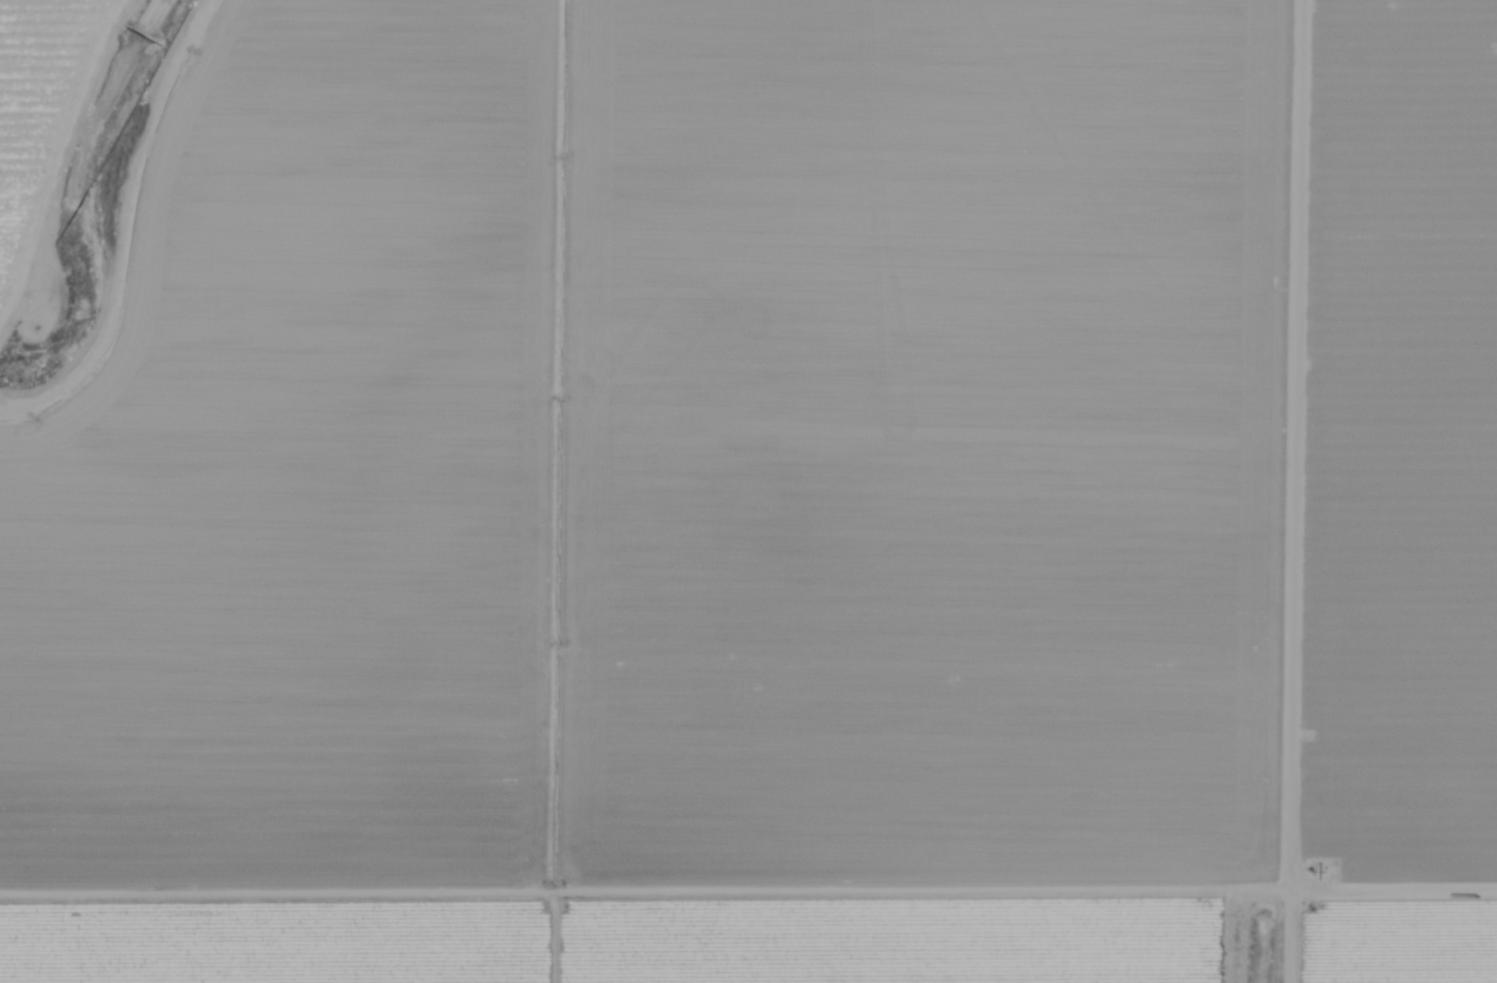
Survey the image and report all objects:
road: (60, 163)
crop: (1406, 452)
crop: (667, 497)
crop: (1405, 943)

